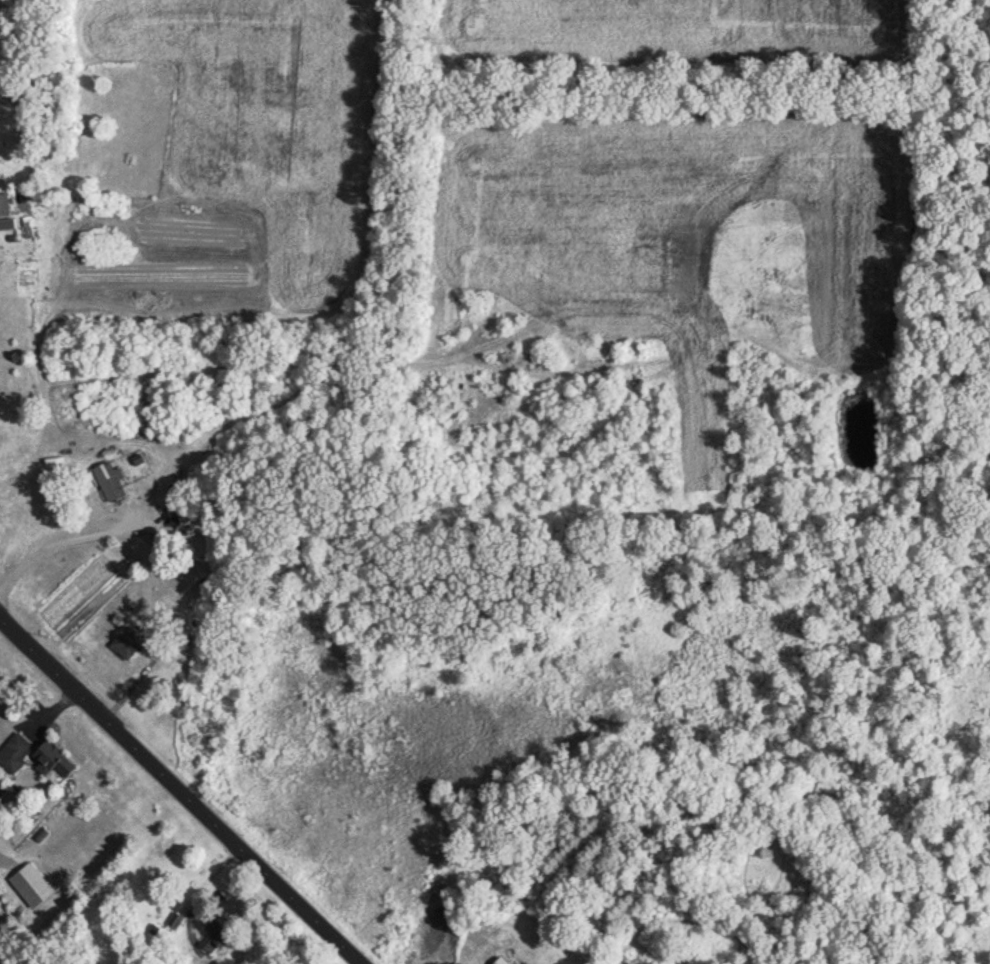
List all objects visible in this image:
building: (5, 204)
building: (11, 224)
building: (110, 482)
building: (191, 514)
road: (60, 544)
building: (128, 645)
building: (15, 753)
building: (55, 762)
road: (180, 790)
building: (33, 886)
building: (220, 937)
building: (517, 962)

